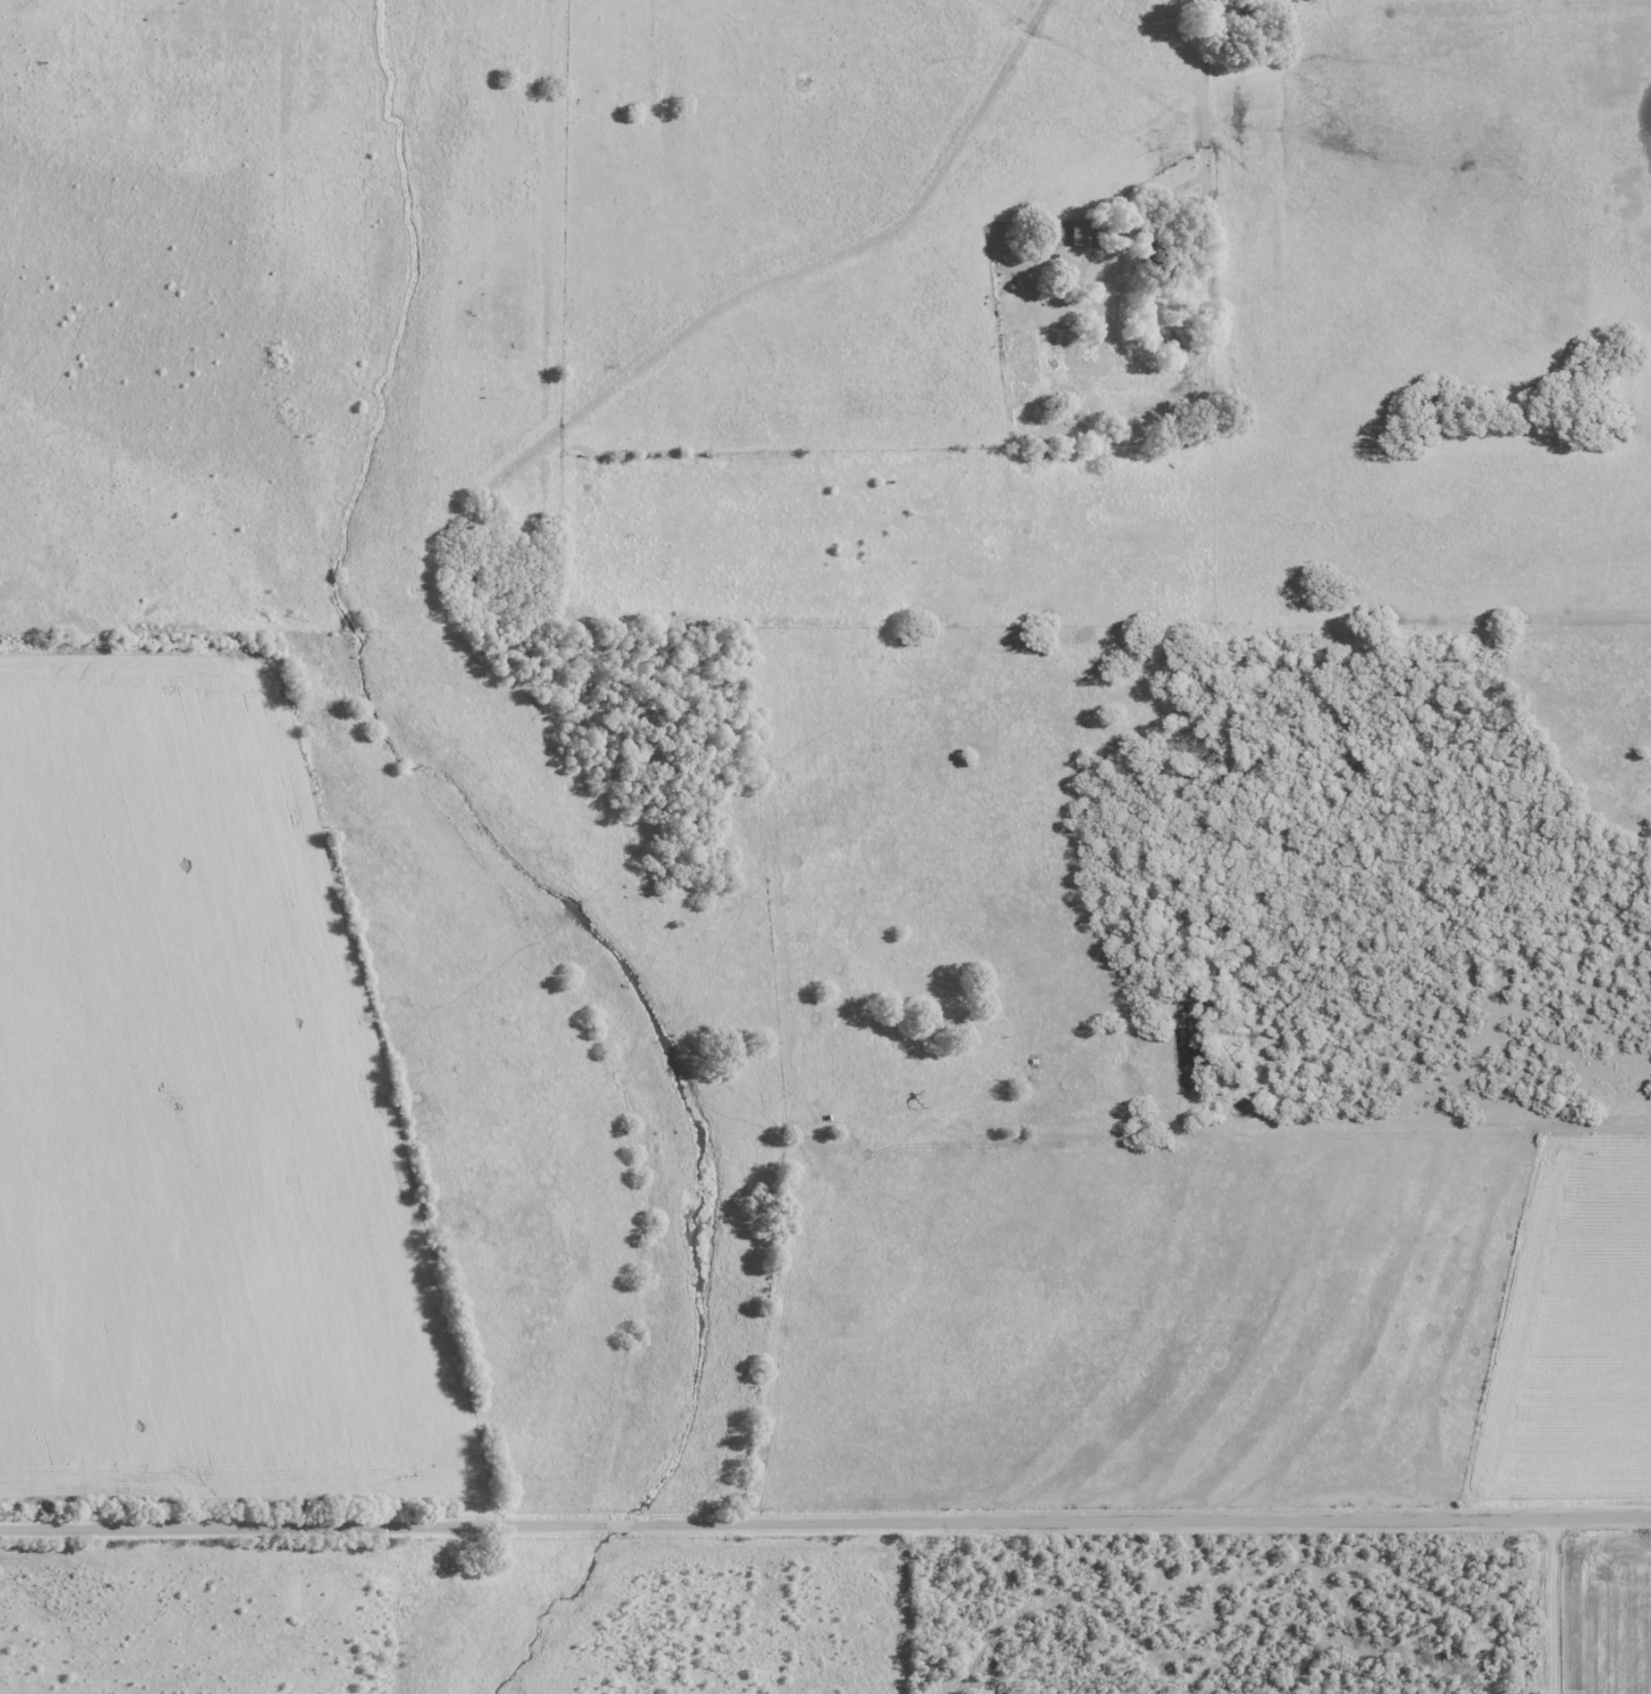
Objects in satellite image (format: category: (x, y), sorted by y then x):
road: (1208, 28)
road: (1206, 150)
building: (1087, 233)
road: (825, 1525)
road: (1556, 1605)

